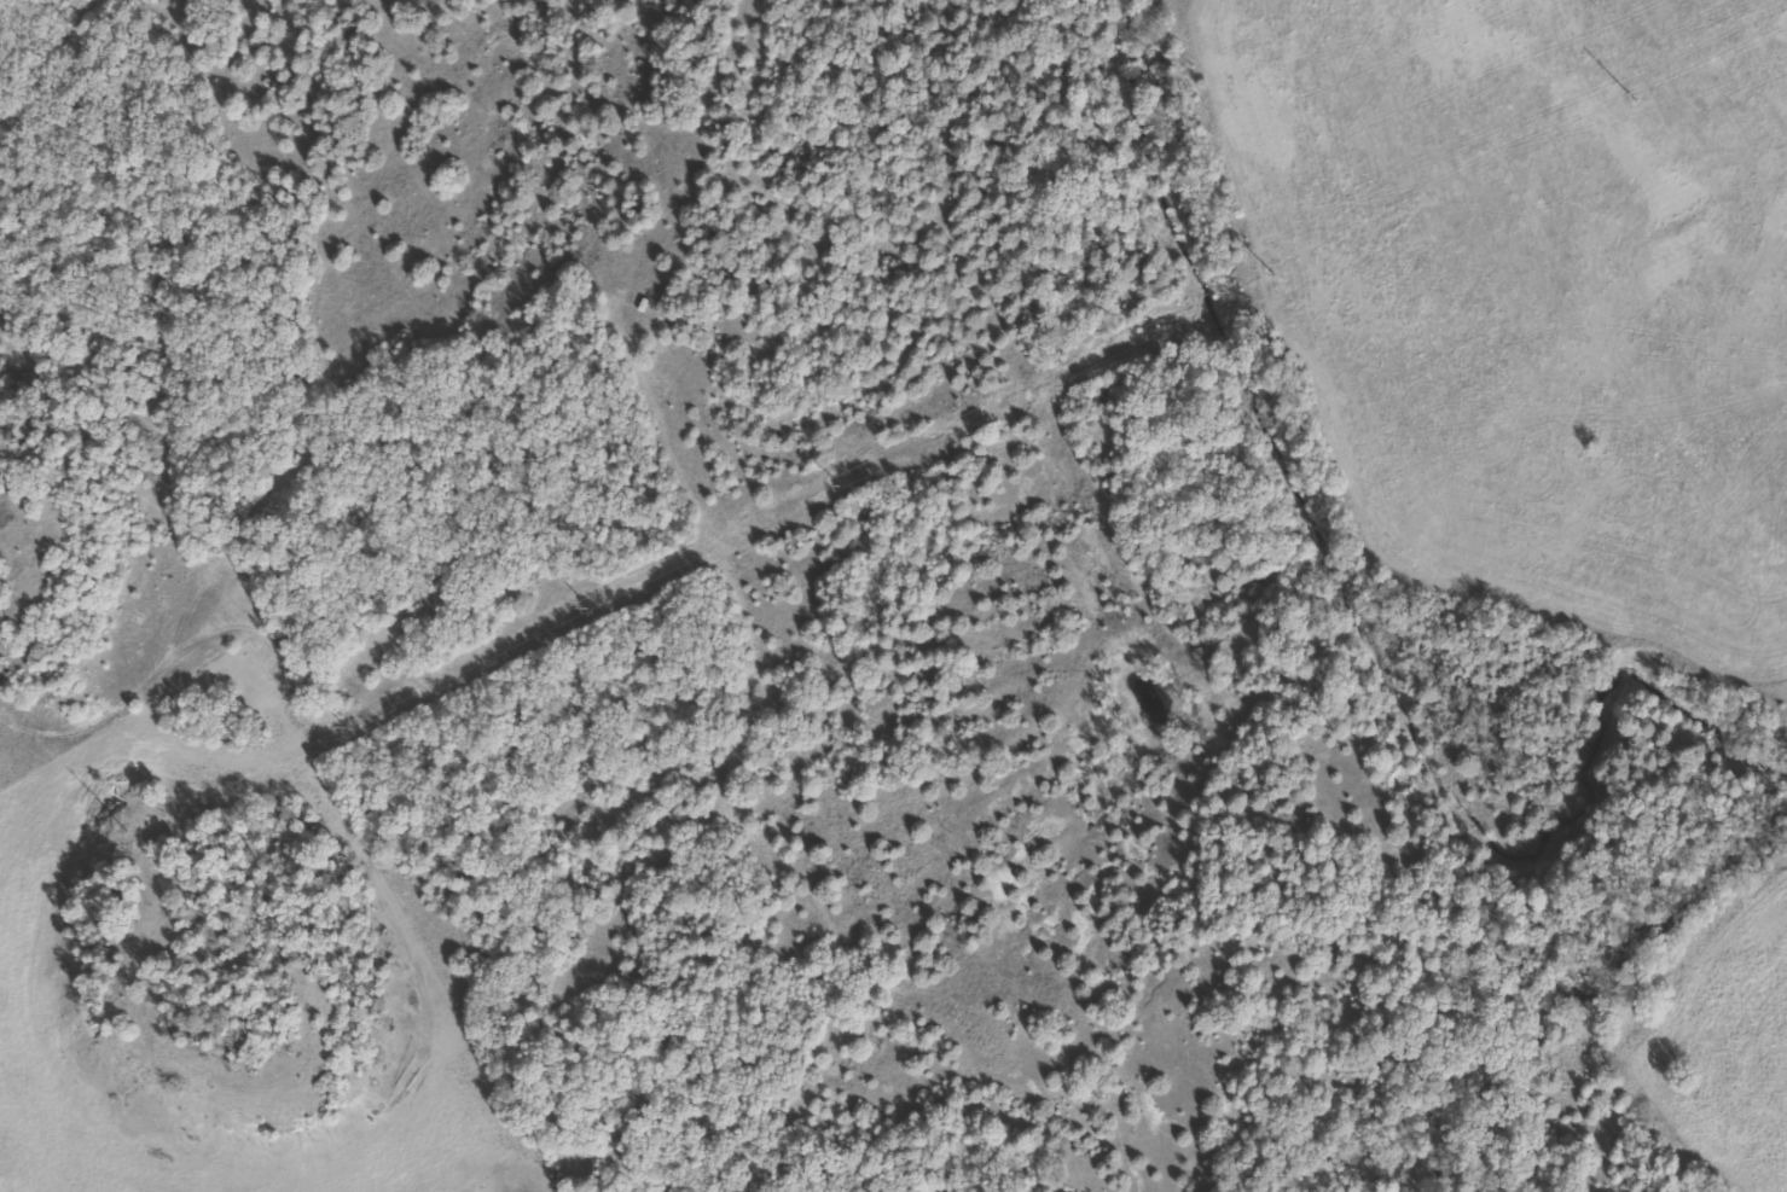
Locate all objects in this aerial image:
power tower: (1629, 100)
power tower: (1272, 274)
power tower: (835, 482)
power tower: (585, 604)
power tower: (338, 725)
power tower: (124, 830)

